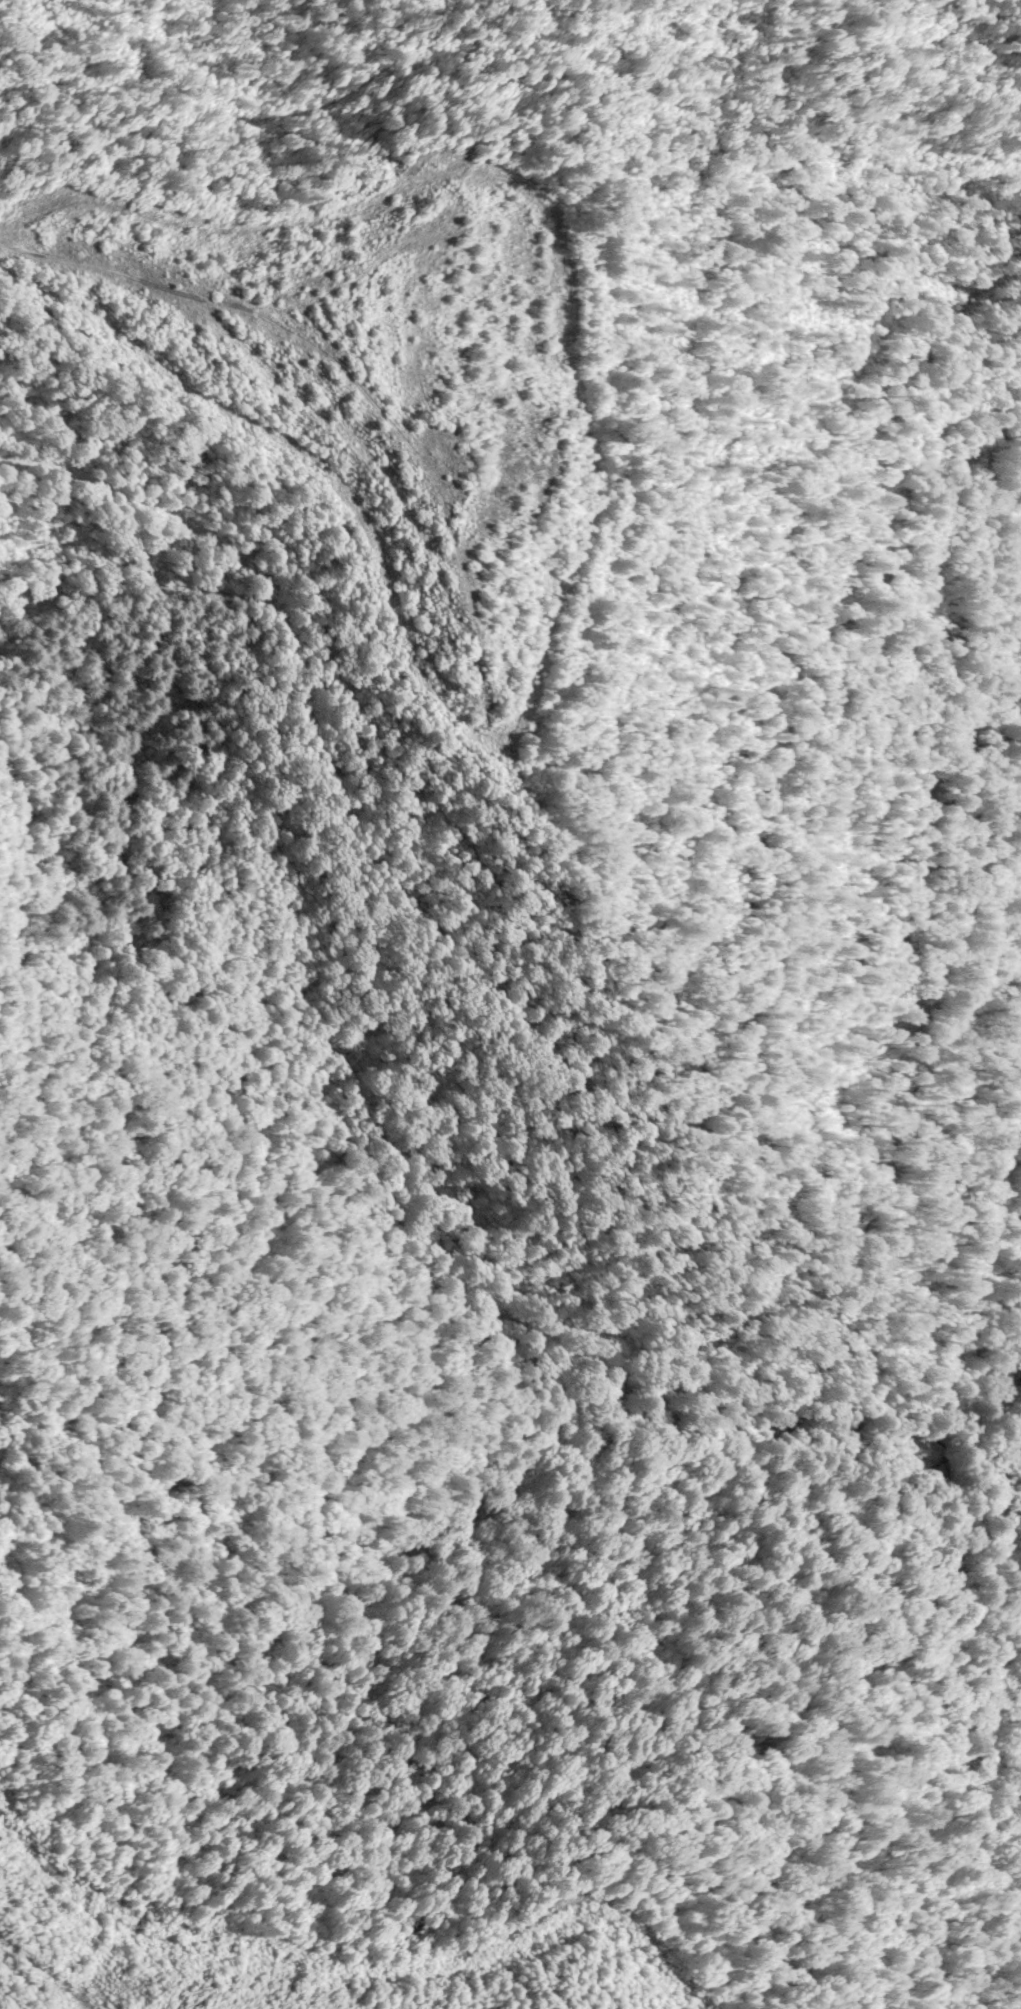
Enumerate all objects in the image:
road: (939, 1250)

